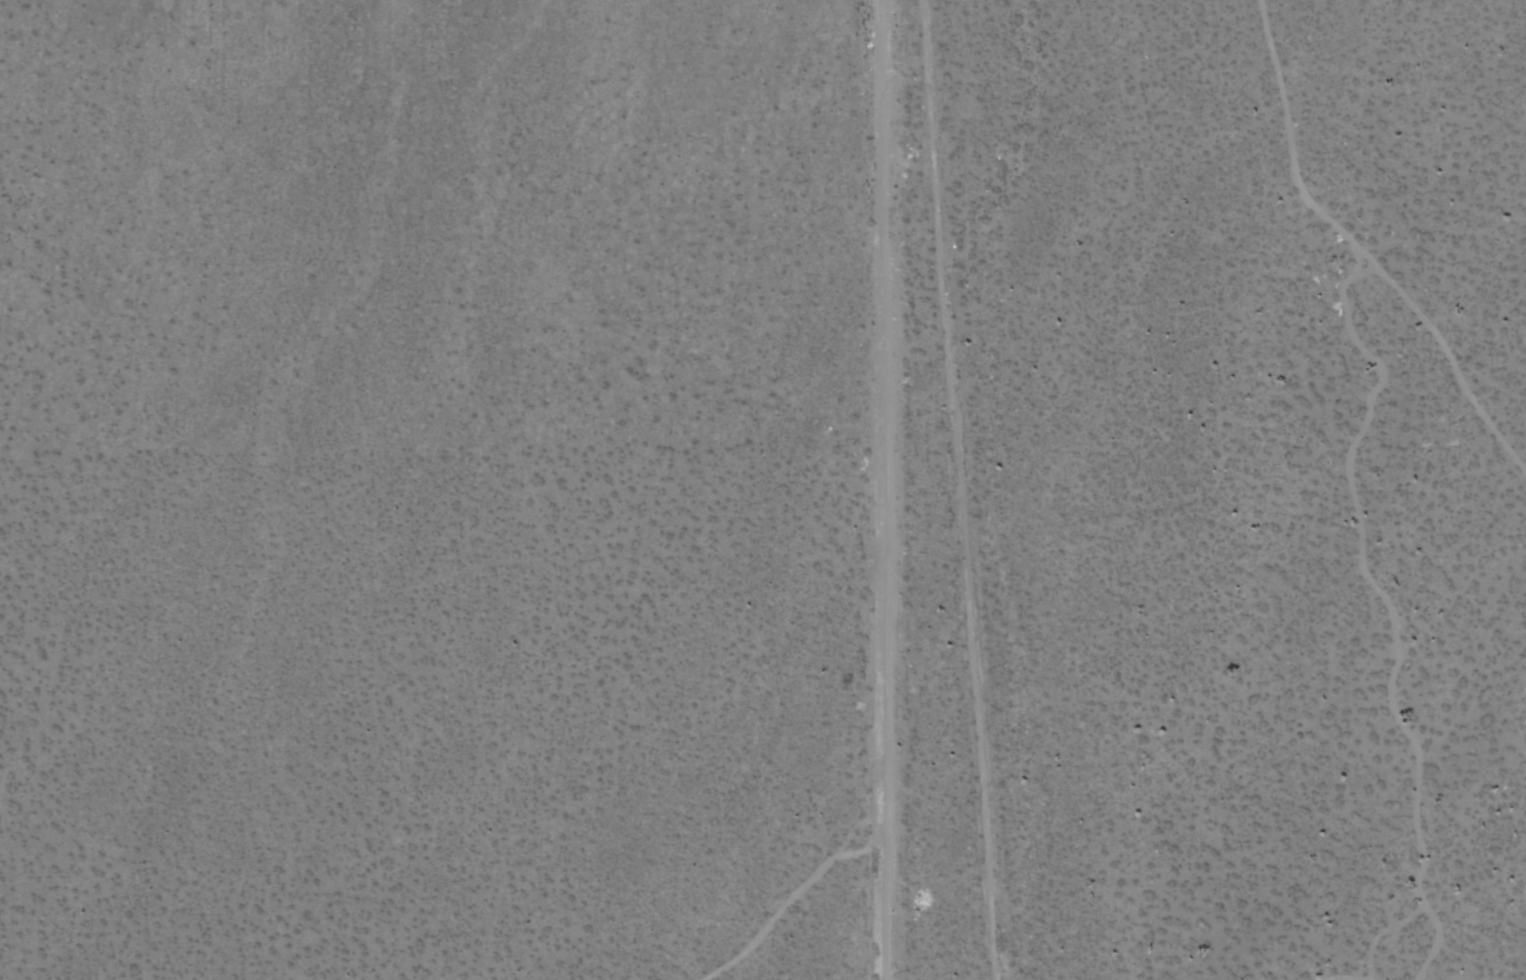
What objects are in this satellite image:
road: (883, 490)

